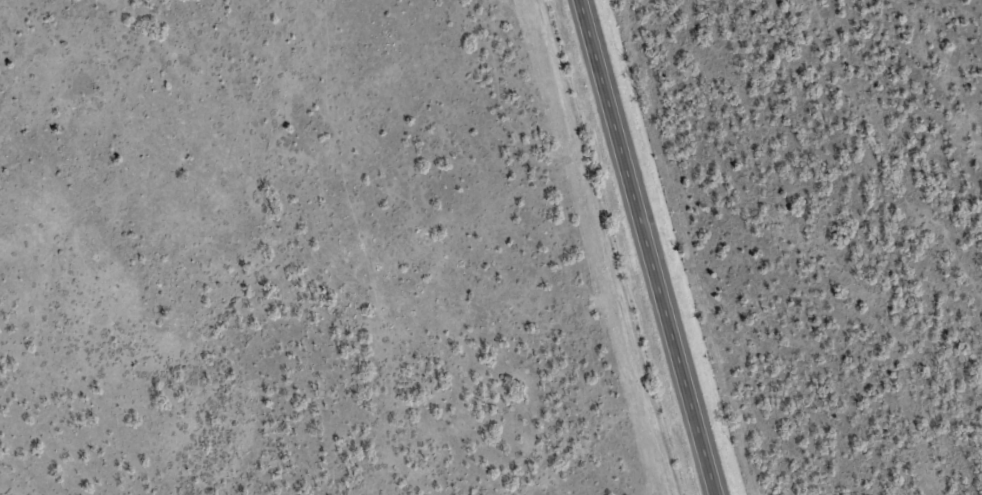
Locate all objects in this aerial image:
road: (66, 60)
road: (645, 247)

